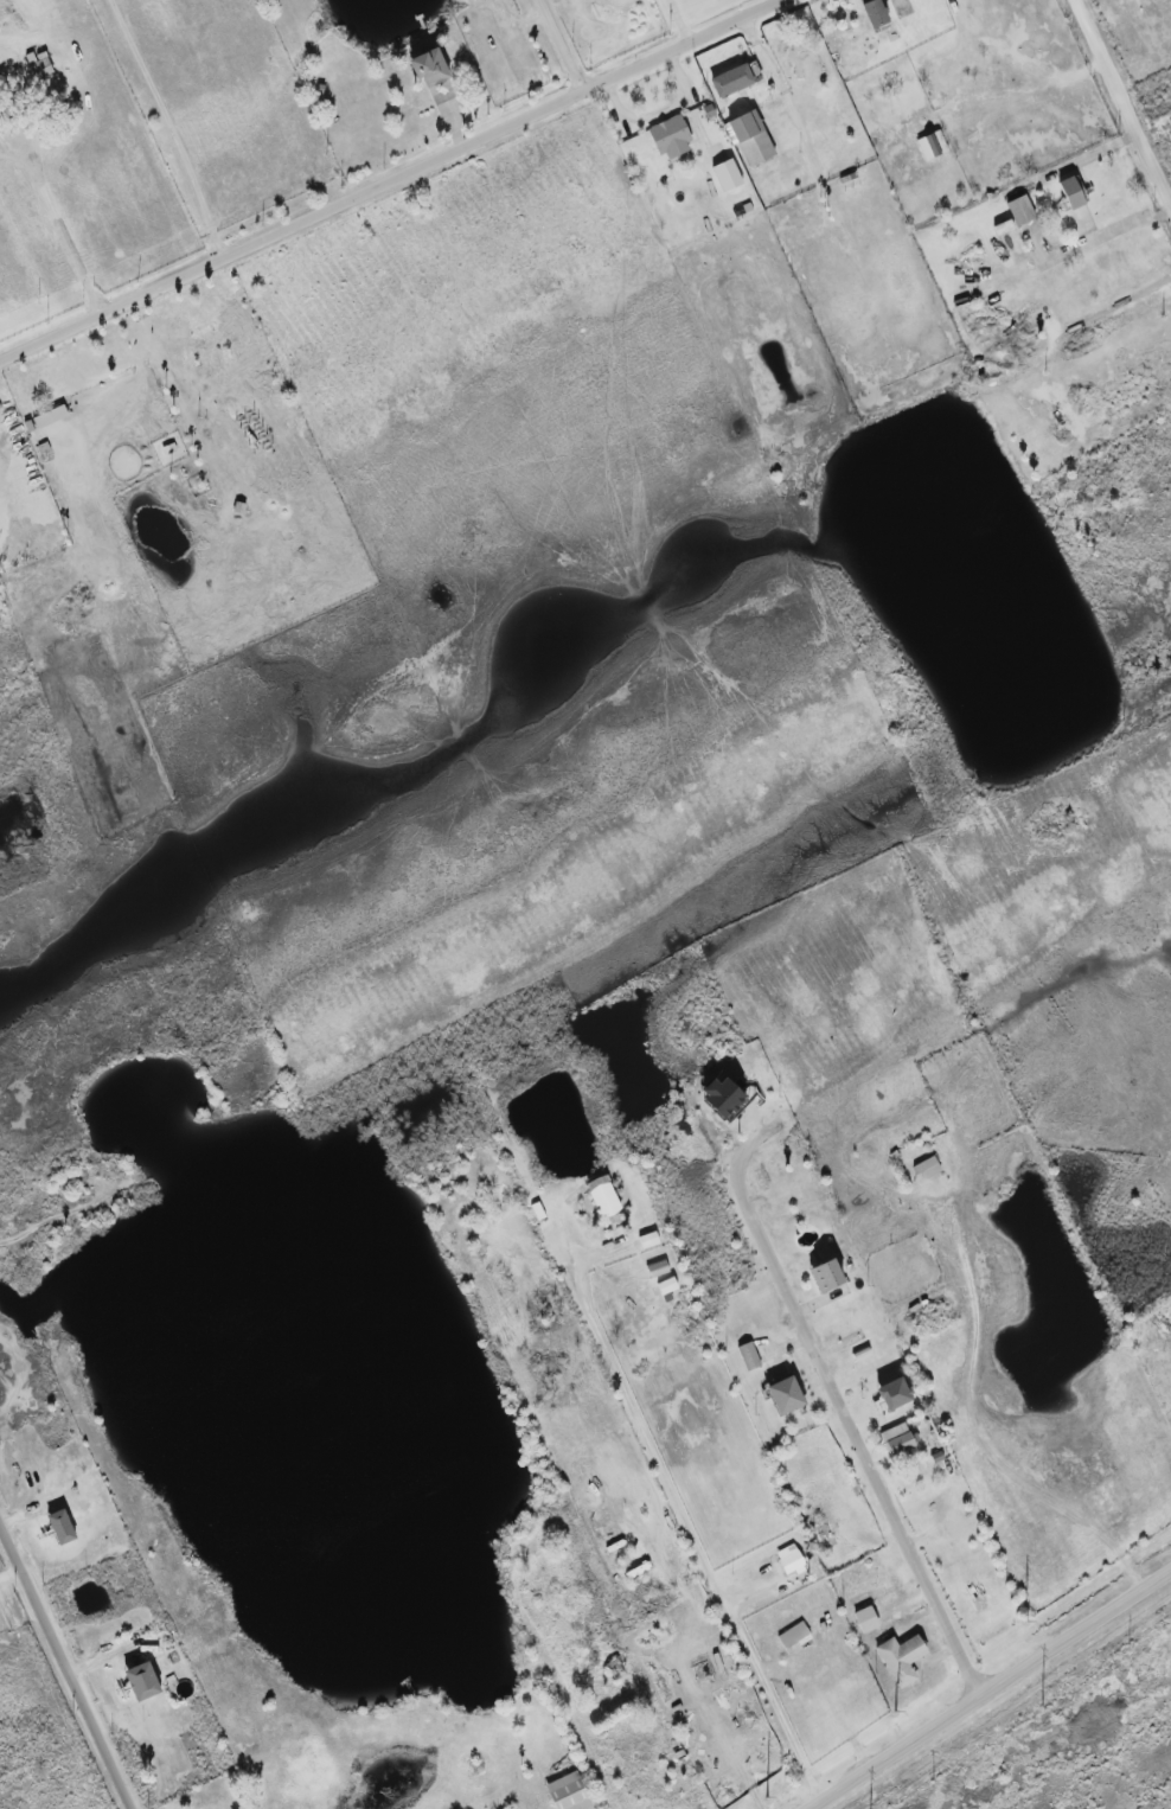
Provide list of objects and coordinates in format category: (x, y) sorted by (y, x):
building: (875, 13)
road: (678, 21)
road: (562, 45)
building: (39, 66)
building: (429, 68)
building: (731, 82)
road: (1124, 104)
road: (179, 124)
building: (671, 138)
building: (751, 138)
building: (932, 145)
building: (727, 175)
road: (391, 180)
building: (1071, 192)
building: (1020, 211)
road: (58, 220)
building: (1003, 228)
building: (50, 417)
building: (722, 1097)
building: (927, 1168)
building: (603, 1196)
building: (648, 1240)
building: (657, 1268)
building: (825, 1276)
building: (667, 1285)
building: (749, 1356)
building: (894, 1393)
building: (785, 1395)
road: (842, 1407)
road: (978, 1433)
building: (897, 1439)
building: (60, 1527)
road: (696, 1538)
building: (789, 1558)
building: (865, 1619)
building: (793, 1636)
building: (901, 1658)
road: (66, 1666)
building: (141, 1681)
road: (994, 1687)
building: (568, 1792)

